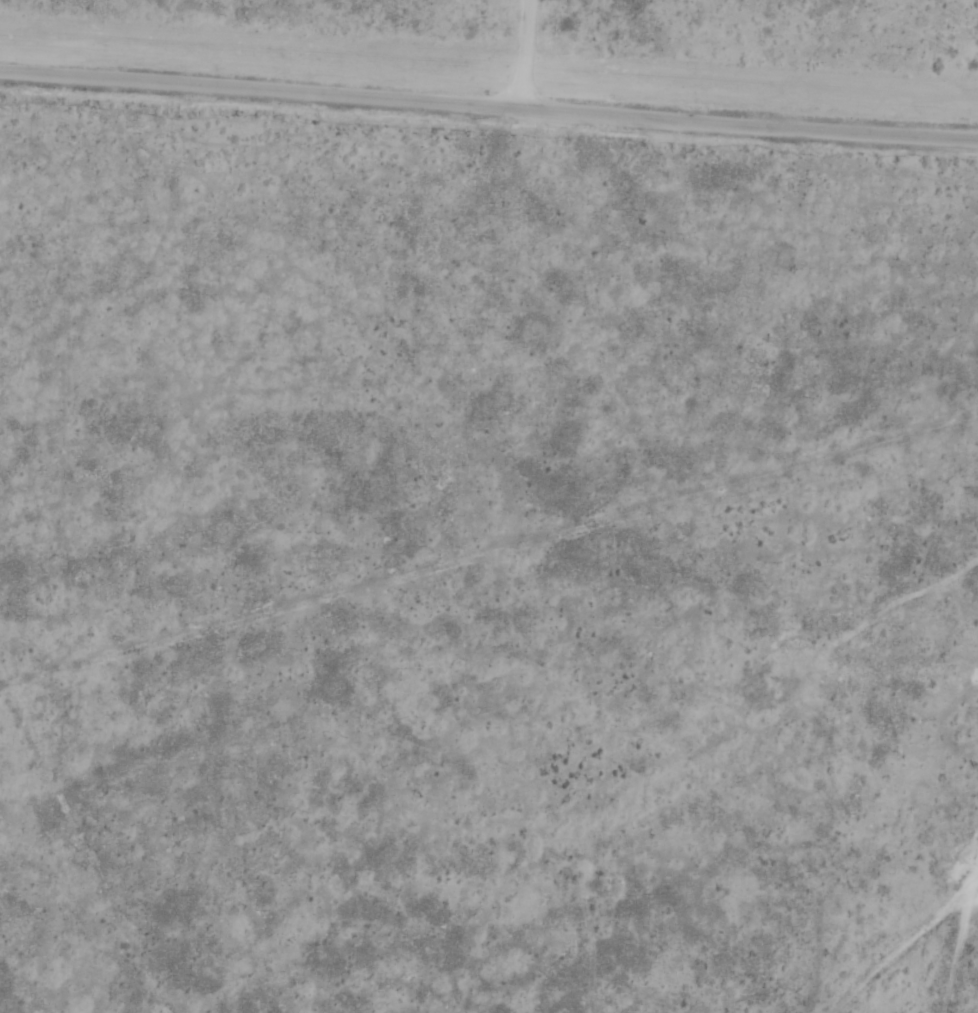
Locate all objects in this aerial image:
road: (489, 108)
road: (882, 612)
road: (977, 857)
road: (977, 858)
road: (951, 930)

